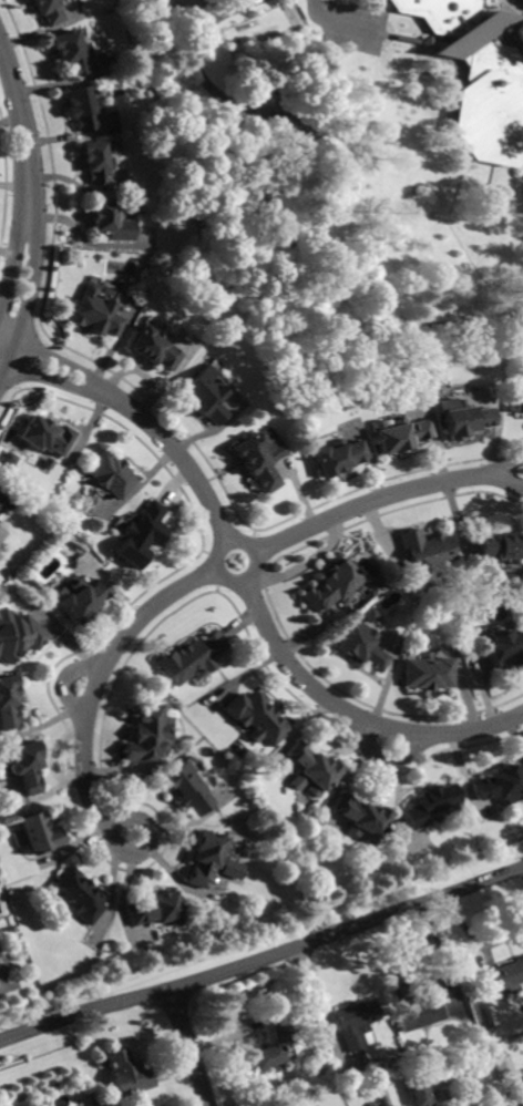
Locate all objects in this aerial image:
building: (49, 11)
building: (442, 14)
building: (253, 38)
building: (71, 52)
building: (83, 107)
building: (491, 107)
building: (288, 134)
road: (25, 137)
building: (98, 161)
building: (111, 222)
road: (273, 223)
road: (11, 269)
road: (25, 311)
building: (95, 313)
building: (154, 347)
building: (519, 391)
building: (204, 395)
building: (461, 418)
building: (397, 433)
building: (45, 436)
building: (336, 457)
building: (7, 459)
building: (255, 461)
building: (47, 463)
building: (110, 474)
building: (3, 501)
building: (140, 534)
building: (501, 546)
building: (425, 555)
road: (207, 574)
road: (245, 577)
building: (331, 586)
building: (81, 600)
building: (18, 635)
building: (361, 646)
building: (505, 649)
building: (191, 658)
building: (428, 673)
road: (64, 682)
building: (8, 703)
building: (256, 718)
building: (147, 734)
building: (27, 766)
building: (310, 767)
building: (501, 786)
building: (186, 789)
building: (431, 805)
building: (360, 817)
building: (40, 833)
building: (207, 858)
road: (522, 868)
building: (81, 895)
building: (156, 910)
road: (474, 940)
building: (0, 955)
road: (263, 959)
building: (505, 976)
building: (404, 980)
road: (425, 985)
building: (418, 1013)
building: (357, 1023)
building: (276, 1045)
road: (191, 1047)
building: (503, 1067)
road: (457, 1073)
building: (127, 1074)
building: (522, 1081)
building: (418, 1092)
building: (370, 1103)
building: (35, 1105)

